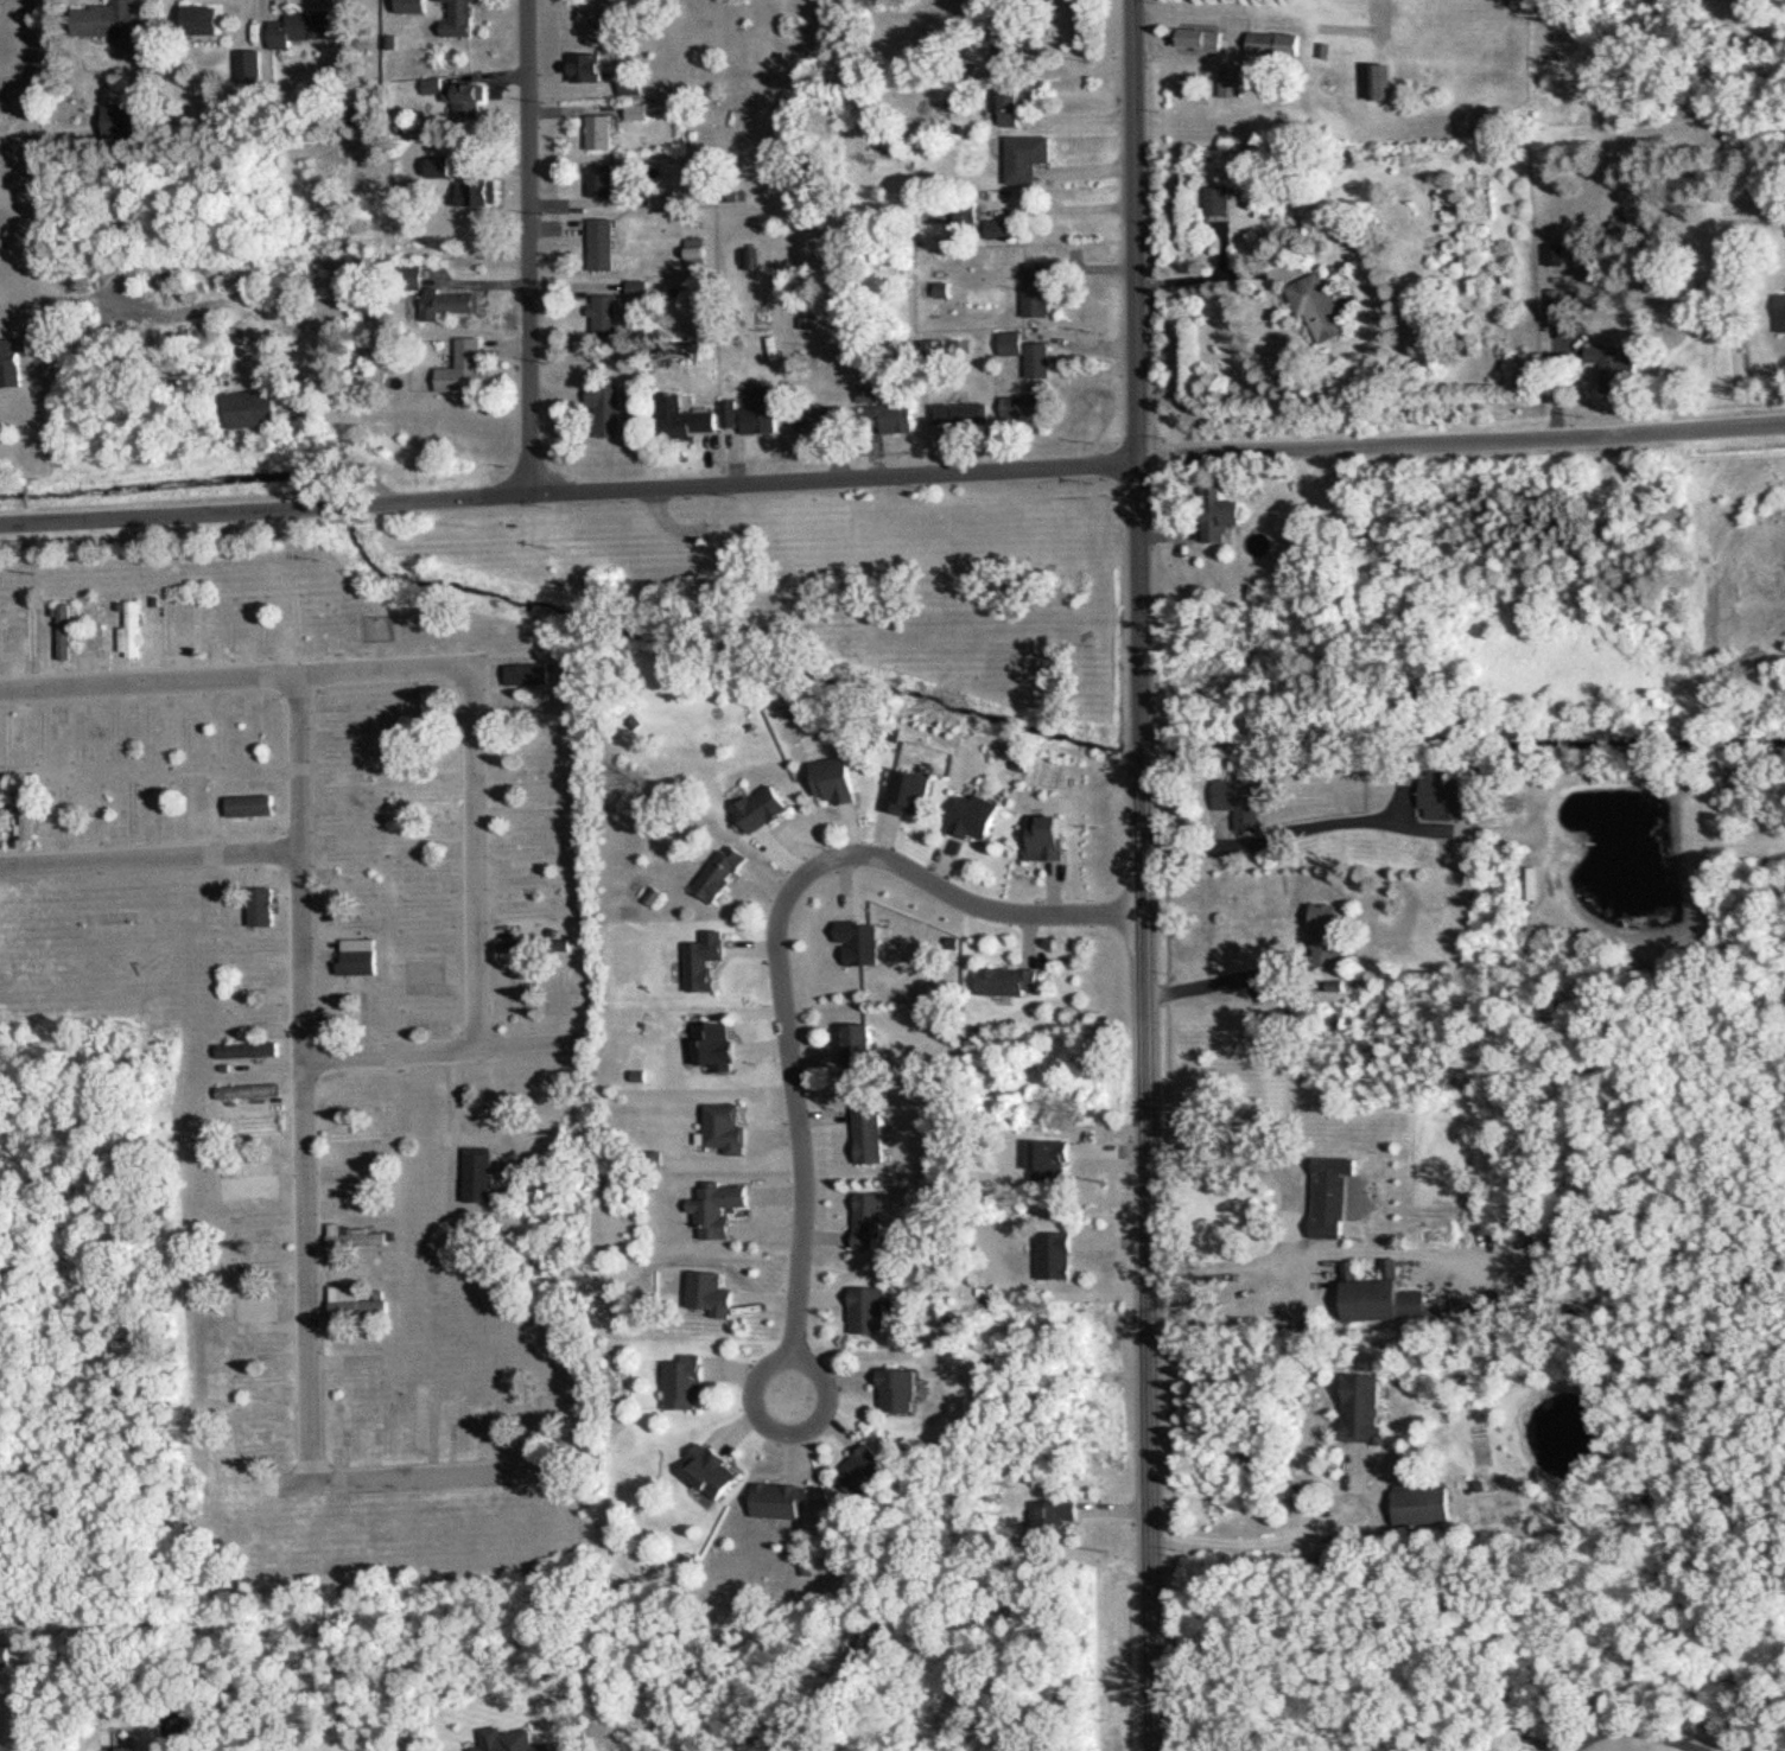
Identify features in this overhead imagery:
building: (413, 6)
building: (203, 18)
building: (460, 18)
building: (108, 19)
building: (300, 27)
building: (1198, 37)
building: (1025, 39)
building: (1276, 44)
building: (248, 65)
building: (597, 66)
building: (1231, 76)
building: (1383, 81)
building: (631, 83)
building: (460, 94)
building: (1015, 96)
building: (123, 119)
building: (601, 130)
road: (30, 146)
building: (1027, 158)
building: (442, 166)
building: (603, 179)
building: (478, 190)
building: (1217, 200)
building: (1626, 224)
building: (1002, 228)
road: (1137, 231)
building: (603, 243)
road: (529, 247)
building: (697, 251)
building: (1555, 253)
road: (1218, 270)
building: (1037, 288)
building: (450, 304)
building: (1556, 304)
building: (1781, 304)
building: (1317, 305)
building: (605, 314)
building: (1028, 352)
building: (12, 363)
building: (1615, 365)
building: (465, 368)
building: (608, 408)
building: (254, 409)
building: (751, 413)
building: (957, 415)
building: (684, 418)
building: (889, 419)
building: (822, 420)
road: (1462, 438)
road: (570, 492)
building: (1220, 515)
building: (299, 618)
building: (199, 626)
building: (132, 630)
building: (65, 631)
building: (33, 632)
building: (2, 638)
building: (527, 674)
road: (236, 681)
building: (432, 712)
building: (9, 741)
building: (348, 749)
building: (836, 781)
building: (352, 785)
building: (910, 791)
building: (1444, 794)
building: (1247, 798)
building: (425, 800)
building: (252, 806)
building: (764, 808)
building: (978, 816)
building: (28, 817)
building: (1048, 836)
road: (150, 859)
road: (476, 864)
building: (723, 872)
building: (531, 879)
building: (350, 889)
building: (262, 906)
building: (109, 923)
building: (1329, 925)
road: (780, 934)
building: (860, 943)
building: (519, 947)
building: (360, 956)
building: (706, 961)
building: (425, 978)
building: (1008, 981)
building: (718, 1046)
building: (862, 1048)
road: (528, 1050)
building: (250, 1051)
road: (389, 1056)
road: (303, 1076)
building: (250, 1091)
road: (1142, 1107)
building: (253, 1127)
building: (728, 1129)
building: (360, 1135)
building: (870, 1136)
building: (1053, 1164)
building: (478, 1174)
building: (252, 1184)
building: (1332, 1198)
building: (719, 1209)
road: (1288, 1210)
building: (870, 1222)
building: (358, 1236)
building: (1056, 1255)
building: (347, 1271)
building: (710, 1294)
building: (1386, 1300)
building: (354, 1303)
building: (258, 1310)
building: (870, 1311)
building: (354, 1343)
road: (790, 1357)
building: (258, 1383)
building: (685, 1383)
building: (898, 1390)
building: (1368, 1408)
building: (423, 1416)
building: (712, 1470)
building: (865, 1471)
road: (438, 1476)
building: (782, 1501)
building: (1425, 1503)
building: (1052, 1517)
road: (1278, 1537)
building: (5, 1653)
road: (1638, 1726)

